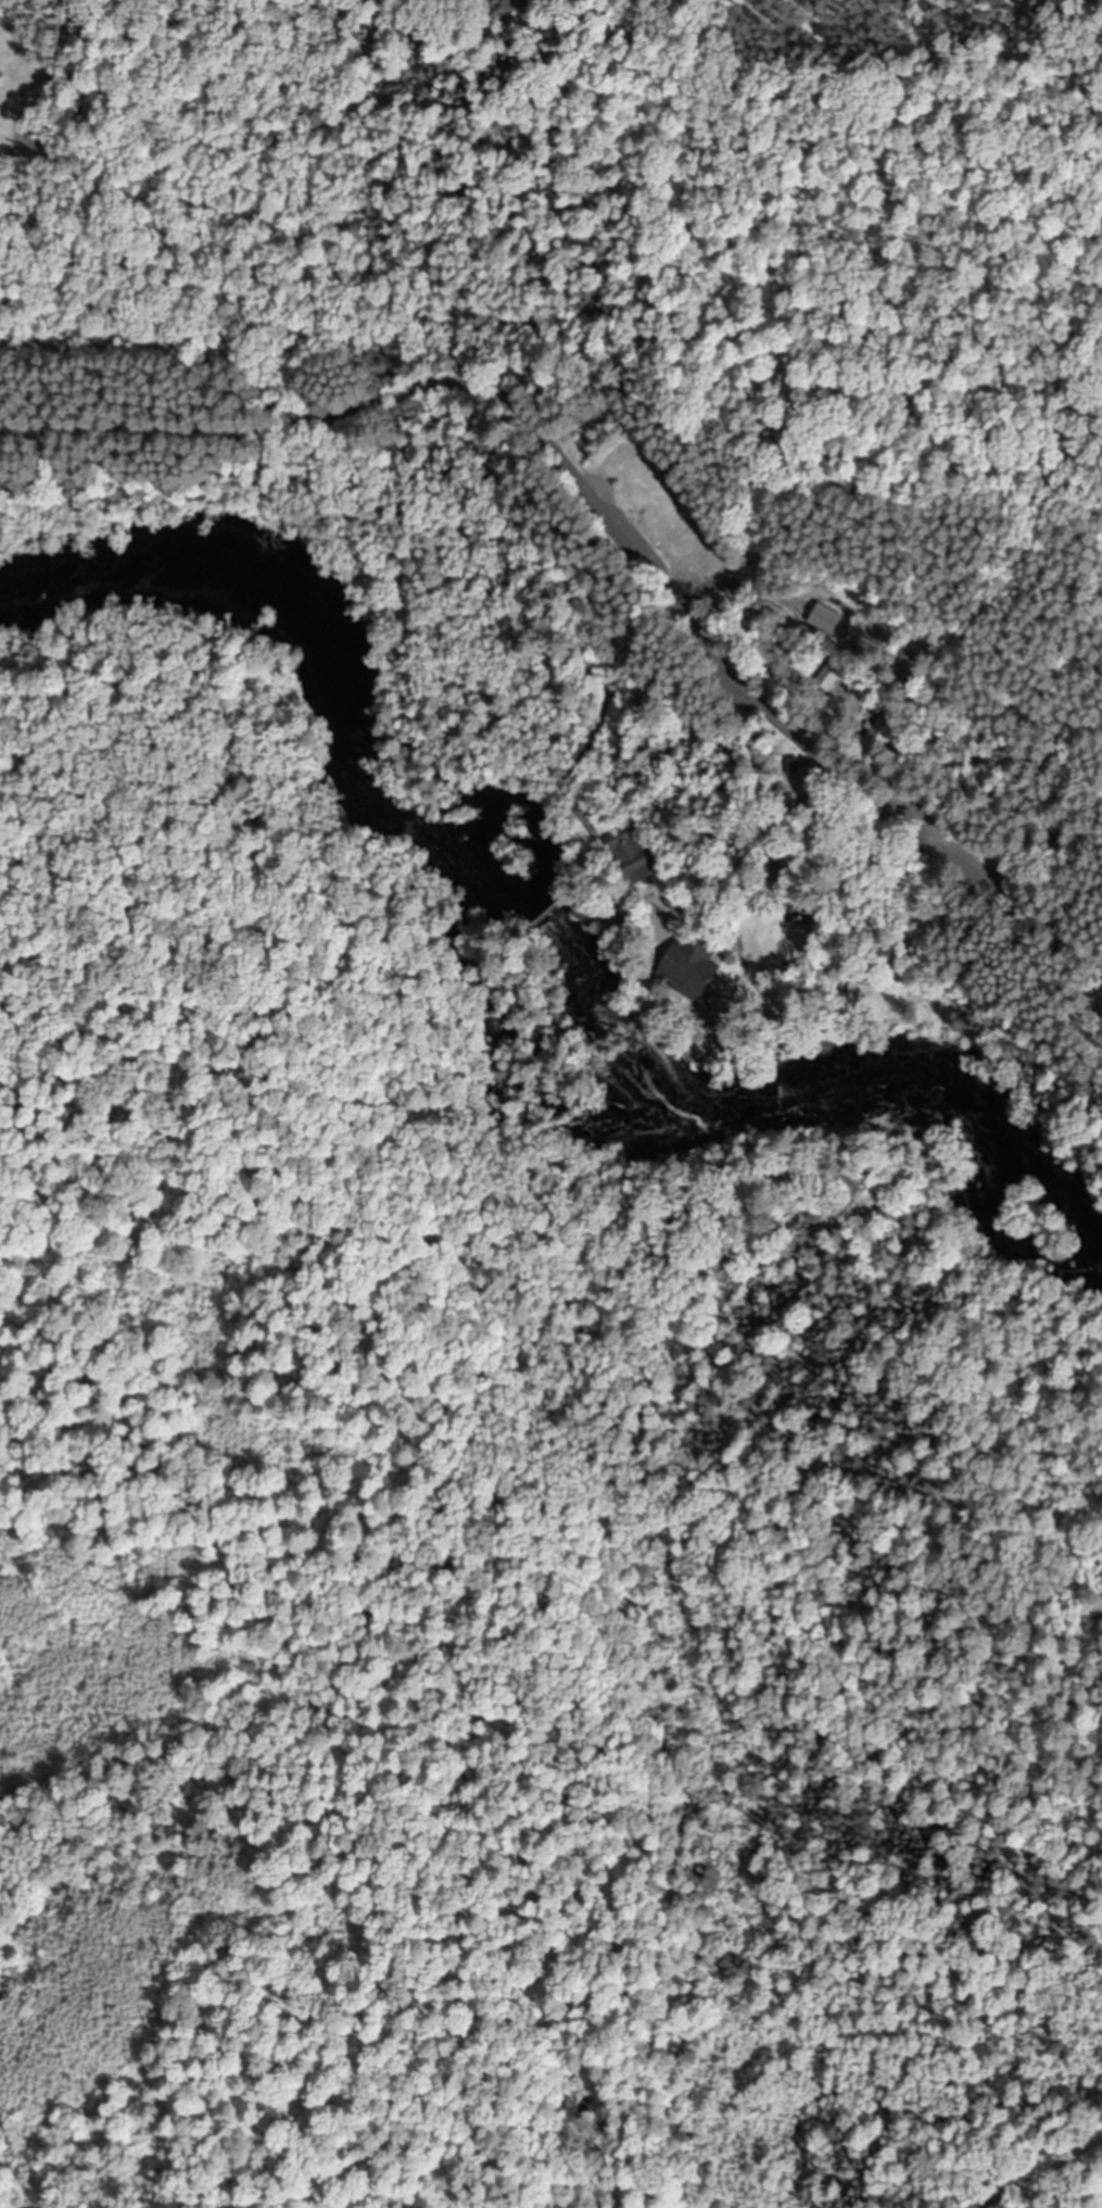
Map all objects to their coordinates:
road: (90, 234)
park: (557, 478)
road: (604, 512)
building: (832, 670)
building: (887, 729)
building: (633, 854)
river: (544, 906)
building: (691, 964)

